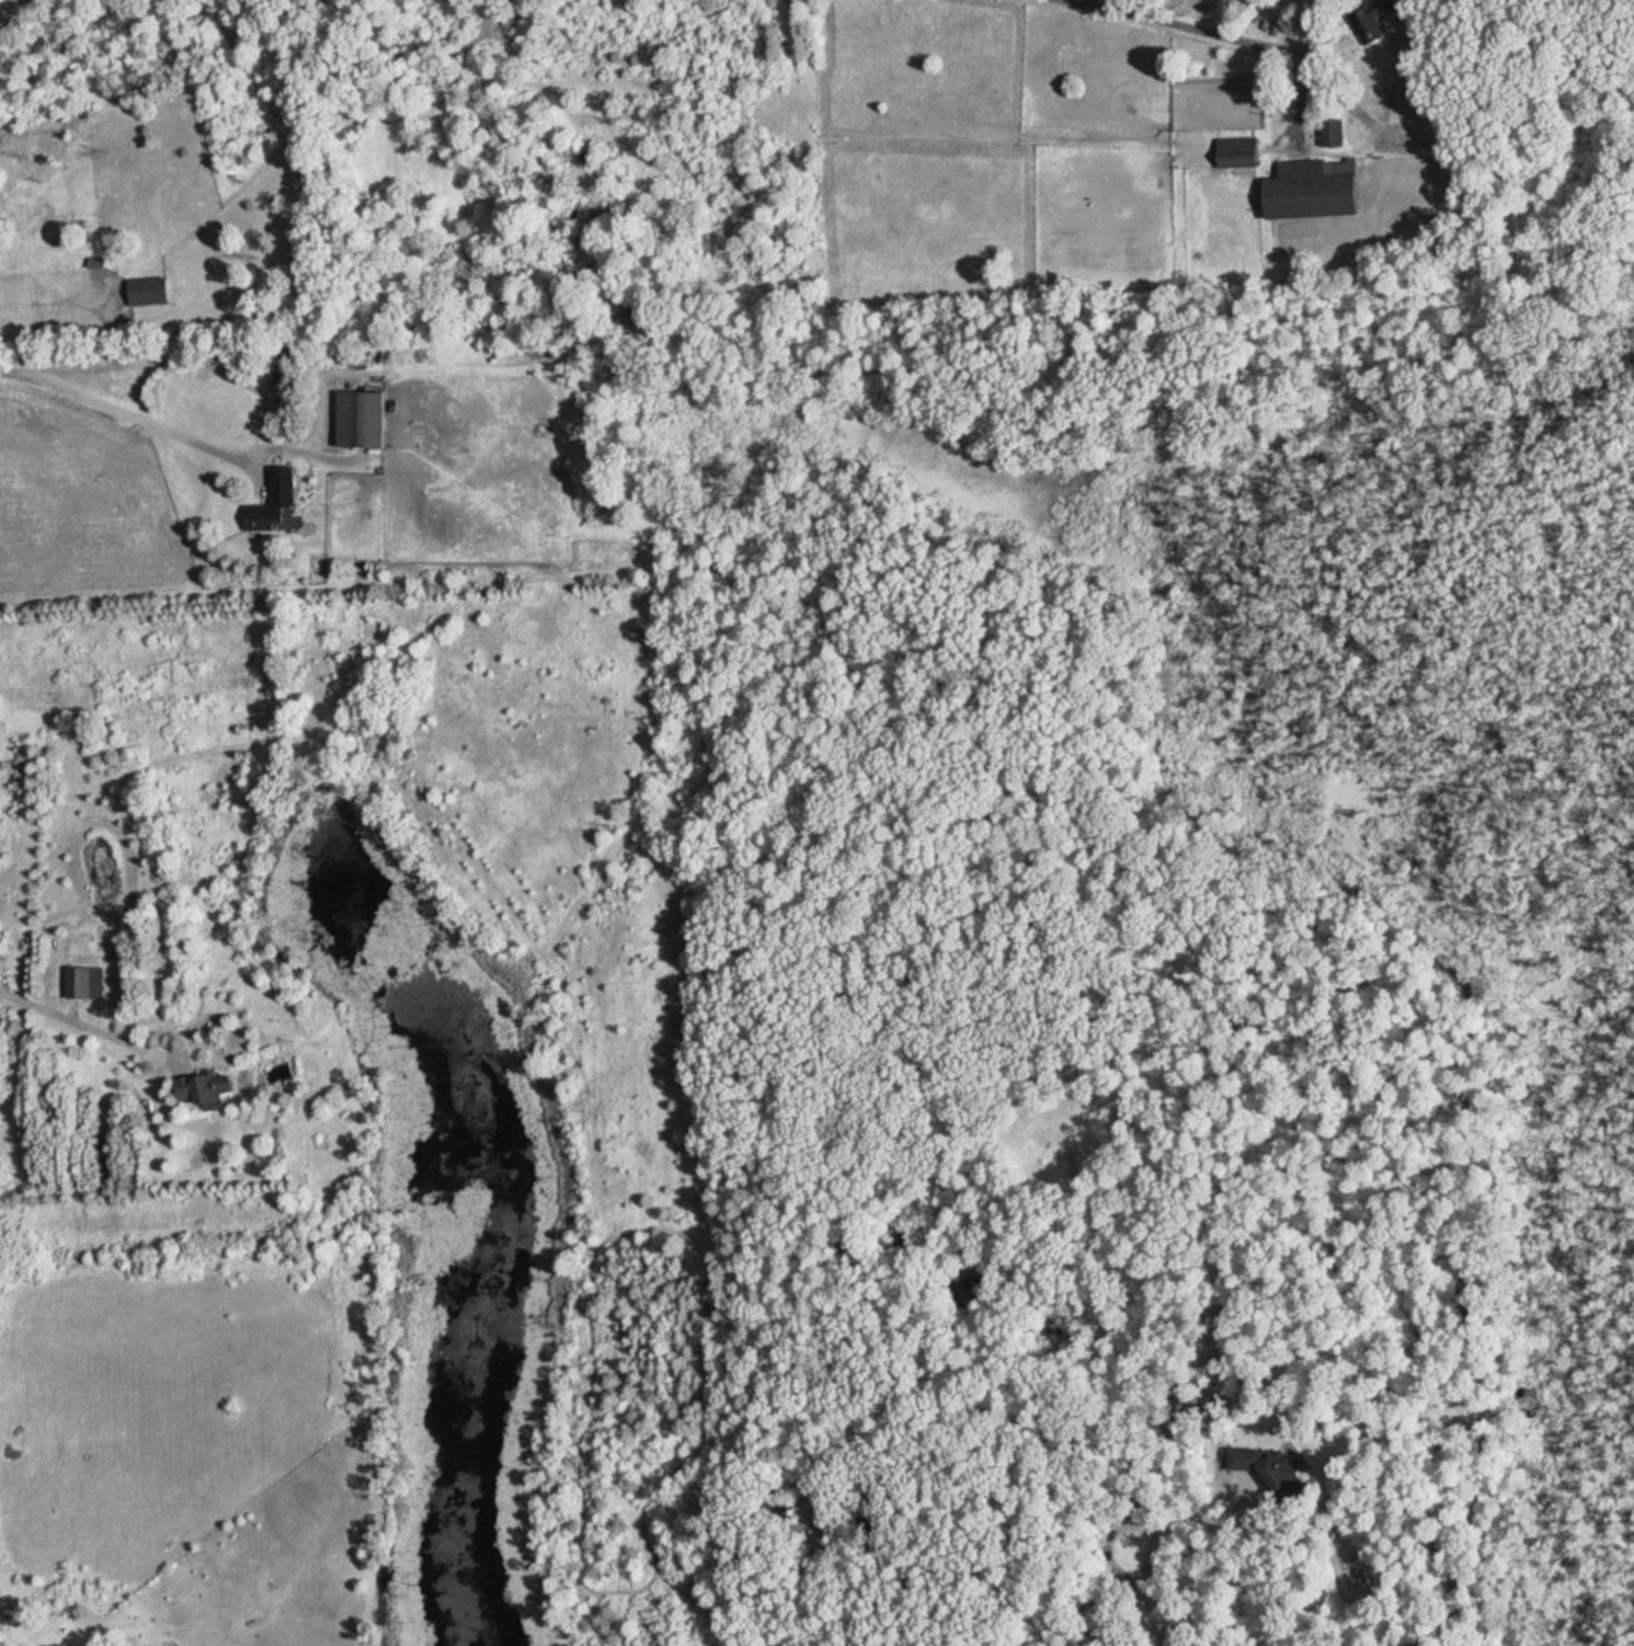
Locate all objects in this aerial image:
building: (1372, 19)
road: (1185, 27)
building: (1239, 150)
building: (1314, 187)
building: (150, 290)
road: (125, 414)
building: (362, 418)
building: (274, 501)
building: (85, 982)
road: (83, 1016)
building: (208, 1088)
building: (1271, 1466)
road: (1248, 1506)
road: (1149, 1573)

